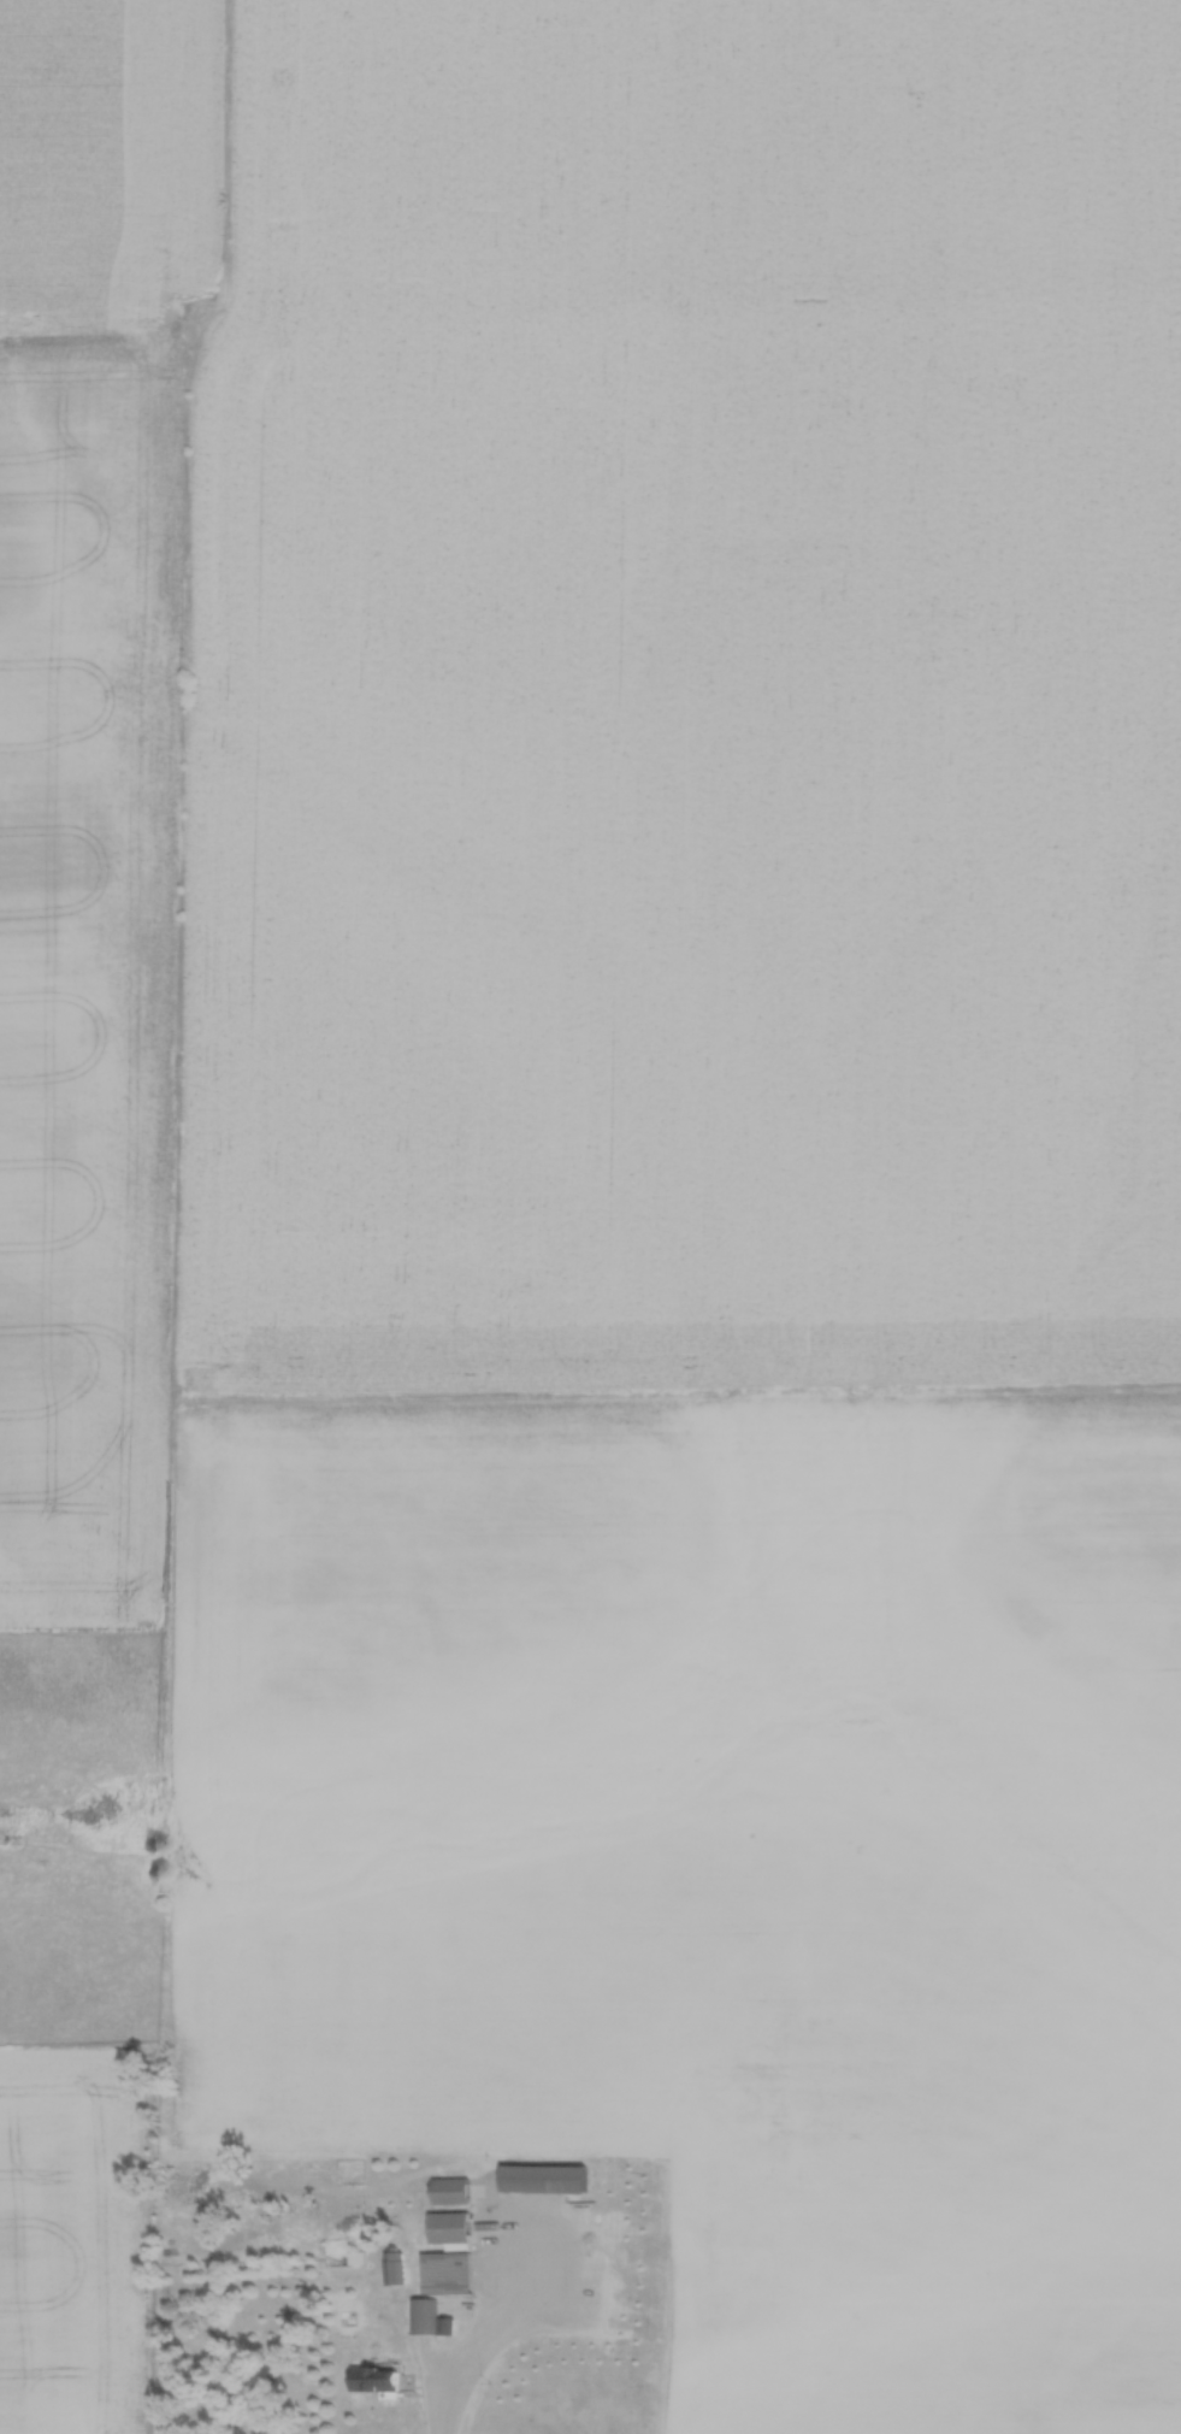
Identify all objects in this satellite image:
building: (543, 2176)
building: (450, 2190)
building: (448, 2226)
building: (445, 2271)
building: (421, 2315)
building: (373, 2376)
road: (438, 2406)

